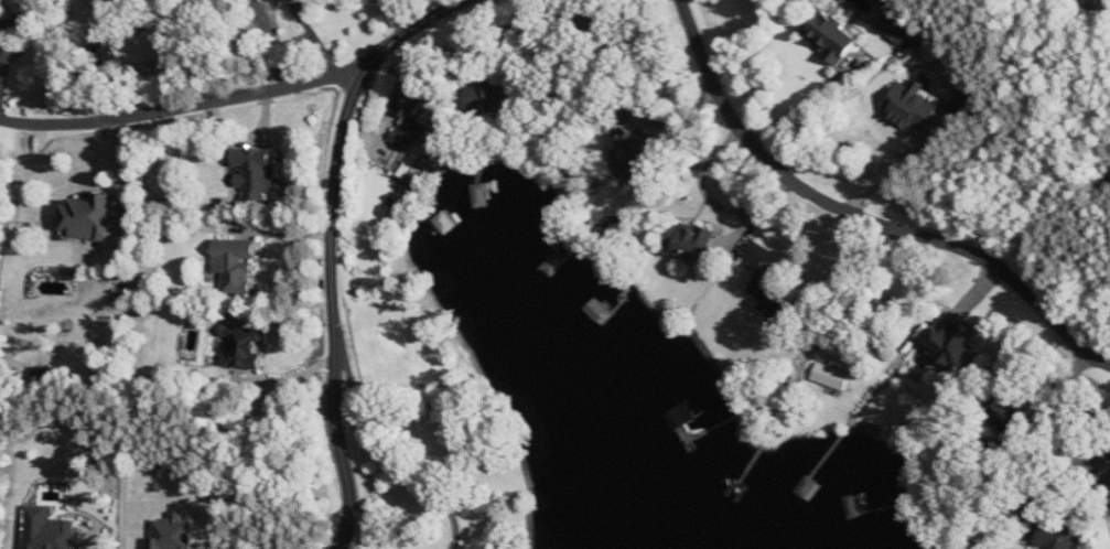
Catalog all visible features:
building: (119, 8)
road: (398, 17)
building: (897, 30)
building: (832, 36)
building: (9, 39)
road: (266, 41)
road: (241, 91)
building: (913, 106)
road: (791, 110)
building: (416, 121)
road: (23, 146)
building: (634, 155)
building: (257, 172)
building: (90, 217)
road: (864, 217)
building: (446, 222)
building: (691, 244)
building: (758, 254)
building: (237, 265)
road: (863, 290)
building: (769, 293)
road: (330, 304)
building: (953, 342)
building: (832, 376)
road: (1069, 456)
building: (50, 529)
building: (174, 532)
building: (1057, 535)

